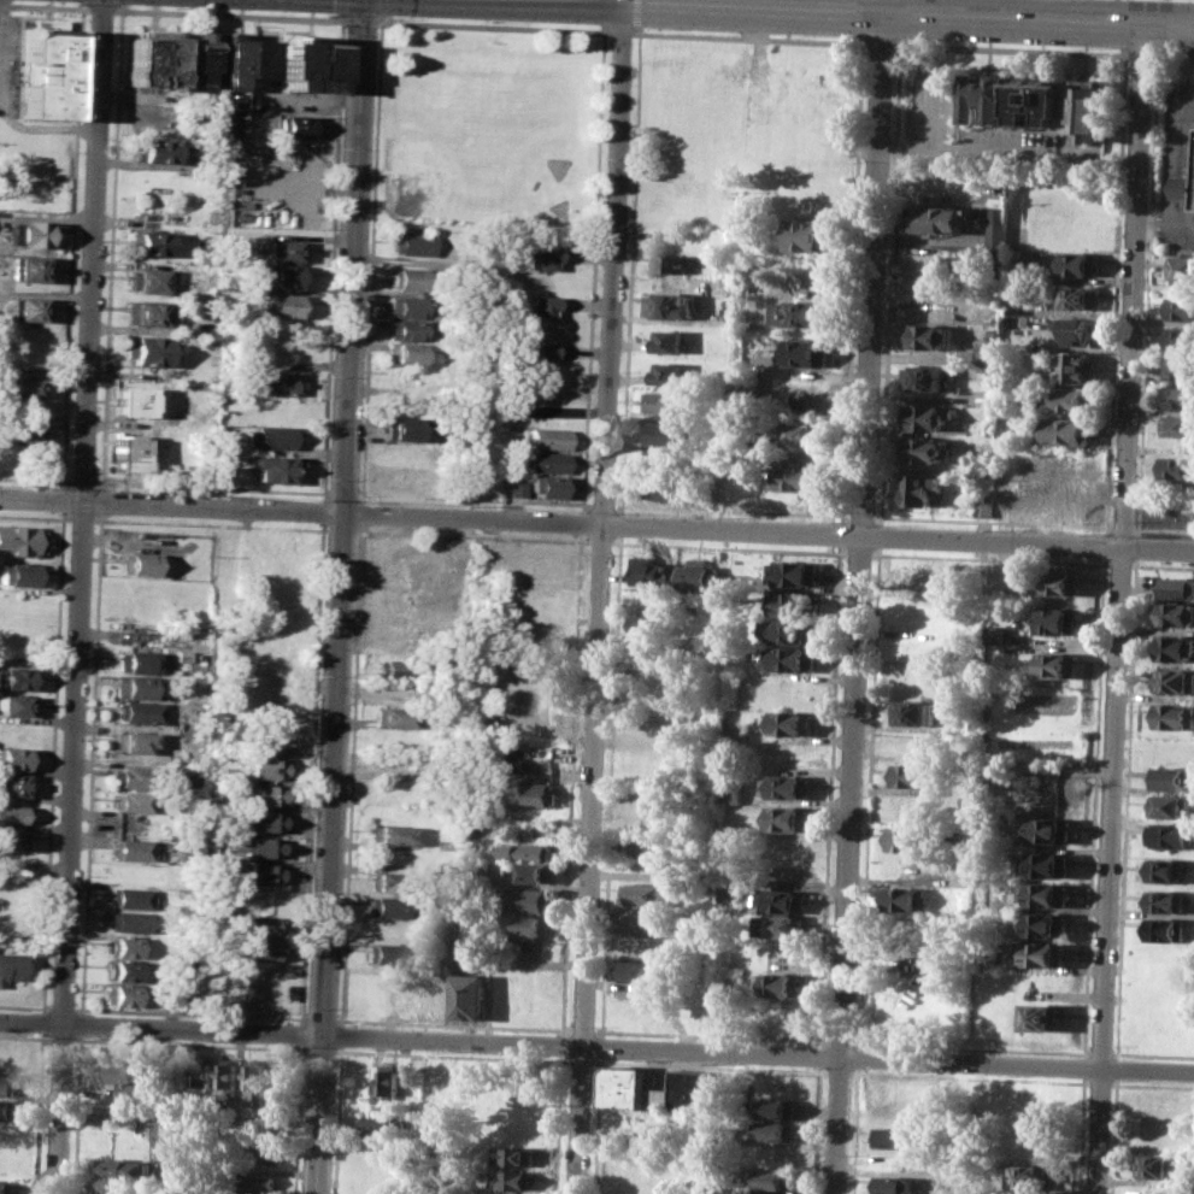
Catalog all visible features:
road: (624, 1)
street lamp: (72, 4)
road: (45, 6)
street lamp: (177, 6)
road: (101, 8)
road: (1047, 10)
road: (880, 12)
road: (229, 13)
street lamp: (329, 13)
road: (637, 13)
street lamp: (390, 17)
road: (360, 19)
street lamp: (483, 20)
street lamp: (88, 25)
street lamp: (340, 25)
road: (493, 25)
street lamp: (652, 28)
road: (637, 29)
road: (620, 31)
street lamp: (808, 35)
road: (751, 37)
street lamp: (922, 39)
street lamp: (607, 43)
road: (882, 43)
street lamp: (1088, 47)
road: (1012, 49)
road: (1142, 55)
road: (1174, 55)
building: (152, 57)
building: (196, 57)
building: (229, 60)
building: (308, 63)
street lamp: (1153, 73)
building: (48, 75)
building: (988, 98)
building: (1042, 99)
parking lot: (1178, 102)
building: (1090, 107)
park: (490, 112)
building: (296, 125)
street lamp: (107, 141)
building: (36, 148)
building: (154, 149)
park: (437, 159)
park: (557, 165)
road: (1169, 167)
street lamp: (1148, 181)
building: (1184, 188)
park: (558, 207)
building: (941, 218)
building: (995, 225)
building: (28, 234)
building: (813, 235)
building: (151, 241)
building: (411, 243)
street lamp: (104, 249)
building: (284, 249)
street lamp: (1180, 249)
road: (95, 252)
building: (542, 258)
building: (1078, 263)
road: (613, 264)
building: (671, 264)
building: (29, 267)
building: (1181, 267)
road: (876, 269)
building: (284, 276)
building: (412, 277)
street lamp: (1143, 278)
building: (147, 280)
road: (1131, 284)
road: (1113, 294)
building: (1077, 296)
building: (674, 304)
building: (1011, 304)
building: (284, 305)
building: (541, 305)
building: (408, 306)
building: (27, 307)
building: (1180, 307)
building: (147, 312)
building: (805, 314)
road: (1147, 318)
building: (407, 329)
building: (1075, 330)
building: (934, 336)
building: (1180, 337)
building: (672, 341)
building: (149, 351)
building: (404, 352)
building: (540, 352)
building: (811, 353)
building: (987, 353)
building: (1075, 366)
building: (1178, 366)
building: (670, 372)
building: (931, 377)
building: (277, 381)
street lamp: (99, 383)
building: (20, 386)
road: (886, 395)
building: (1178, 395)
building: (1075, 399)
building: (129, 400)
building: (674, 401)
building: (928, 417)
building: (1177, 424)
building: (405, 427)
building: (23, 430)
building: (1066, 430)
building: (672, 433)
building: (804, 434)
building: (273, 436)
building: (546, 437)
building: (927, 449)
building: (128, 452)
building: (546, 461)
building: (271, 466)
building: (1176, 466)
building: (802, 476)
street lamp: (95, 477)
building: (546, 484)
building: (671, 487)
building: (919, 489)
street lamp: (1135, 520)
road: (596, 525)
road: (1122, 527)
road: (1135, 527)
street lamp: (93, 528)
street lamp: (1089, 533)
street lamp: (1142, 535)
building: (19, 540)
road: (1105, 545)
building: (139, 563)
building: (652, 570)
building: (704, 572)
building: (18, 574)
building: (796, 574)
building: (1063, 582)
building: (1177, 587)
road: (341, 596)
building: (796, 604)
building: (1175, 612)
building: (1061, 619)
building: (654, 625)
building: (790, 631)
building: (996, 635)
building: (195, 640)
building: (1175, 648)
building: (793, 658)
building: (135, 661)
building: (1057, 663)
building: (398, 669)
building: (16, 678)
building: (1175, 681)
building: (137, 687)
building: (396, 693)
building: (16, 705)
building: (137, 711)
building: (914, 711)
building: (1174, 714)
building: (395, 716)
building: (792, 722)
building: (131, 740)
building: (270, 742)
building: (1172, 749)
building: (13, 758)
building: (267, 767)
building: (913, 775)
building: (133, 776)
building: (187, 776)
building: (1172, 777)
building: (13, 784)
building: (786, 787)
building: (731, 790)
building: (266, 794)
building: (530, 794)
building: (131, 801)
building: (1171, 805)
road: (1094, 806)
building: (13, 813)
building: (789, 818)
building: (263, 820)
building: (1049, 830)
building: (390, 834)
building: (1171, 834)
building: (912, 837)
building: (12, 839)
building: (648, 845)
building: (259, 846)
road: (71, 849)
building: (131, 849)
building: (528, 852)
road: (592, 860)
building: (1048, 864)
road: (849, 865)
road: (1108, 869)
building: (1166, 870)
building: (263, 872)
building: (534, 872)
building: (389, 882)
building: (647, 894)
building: (1047, 894)
building: (130, 898)
building: (786, 899)
building: (906, 899)
building: (530, 900)
building: (1165, 901)
building: (388, 906)
building: (647, 918)
building: (129, 921)
building: (1046, 924)
building: (531, 925)
building: (783, 925)
building: (260, 927)
building: (1165, 929)
building: (387, 930)
building: (467, 946)
building: (125, 947)
building: (260, 948)
building: (384, 953)
building: (1046, 953)
building: (937, 963)
building: (10, 965)
building: (124, 970)
building: (634, 970)
building: (781, 983)
building: (123, 994)
building: (469, 996)
building: (1045, 1016)
road: (596, 1052)
road: (1084, 1066)
building: (200, 1071)
building: (227, 1075)
building: (125, 1077)
building: (258, 1080)
building: (384, 1080)
building: (10, 1083)
building: (622, 1086)
building: (686, 1090)
building: (780, 1107)
building: (8, 1108)
building: (380, 1125)
building: (778, 1130)
road: (1081, 1135)
building: (895, 1136)
building: (380, 1146)
building: (263, 1152)
building: (513, 1155)
building: (1154, 1166)
building: (122, 1169)
building: (1028, 1176)
building: (776, 1178)
building: (514, 1180)
building: (259, 1184)
building: (894, 1184)
building: (7, 1186)

